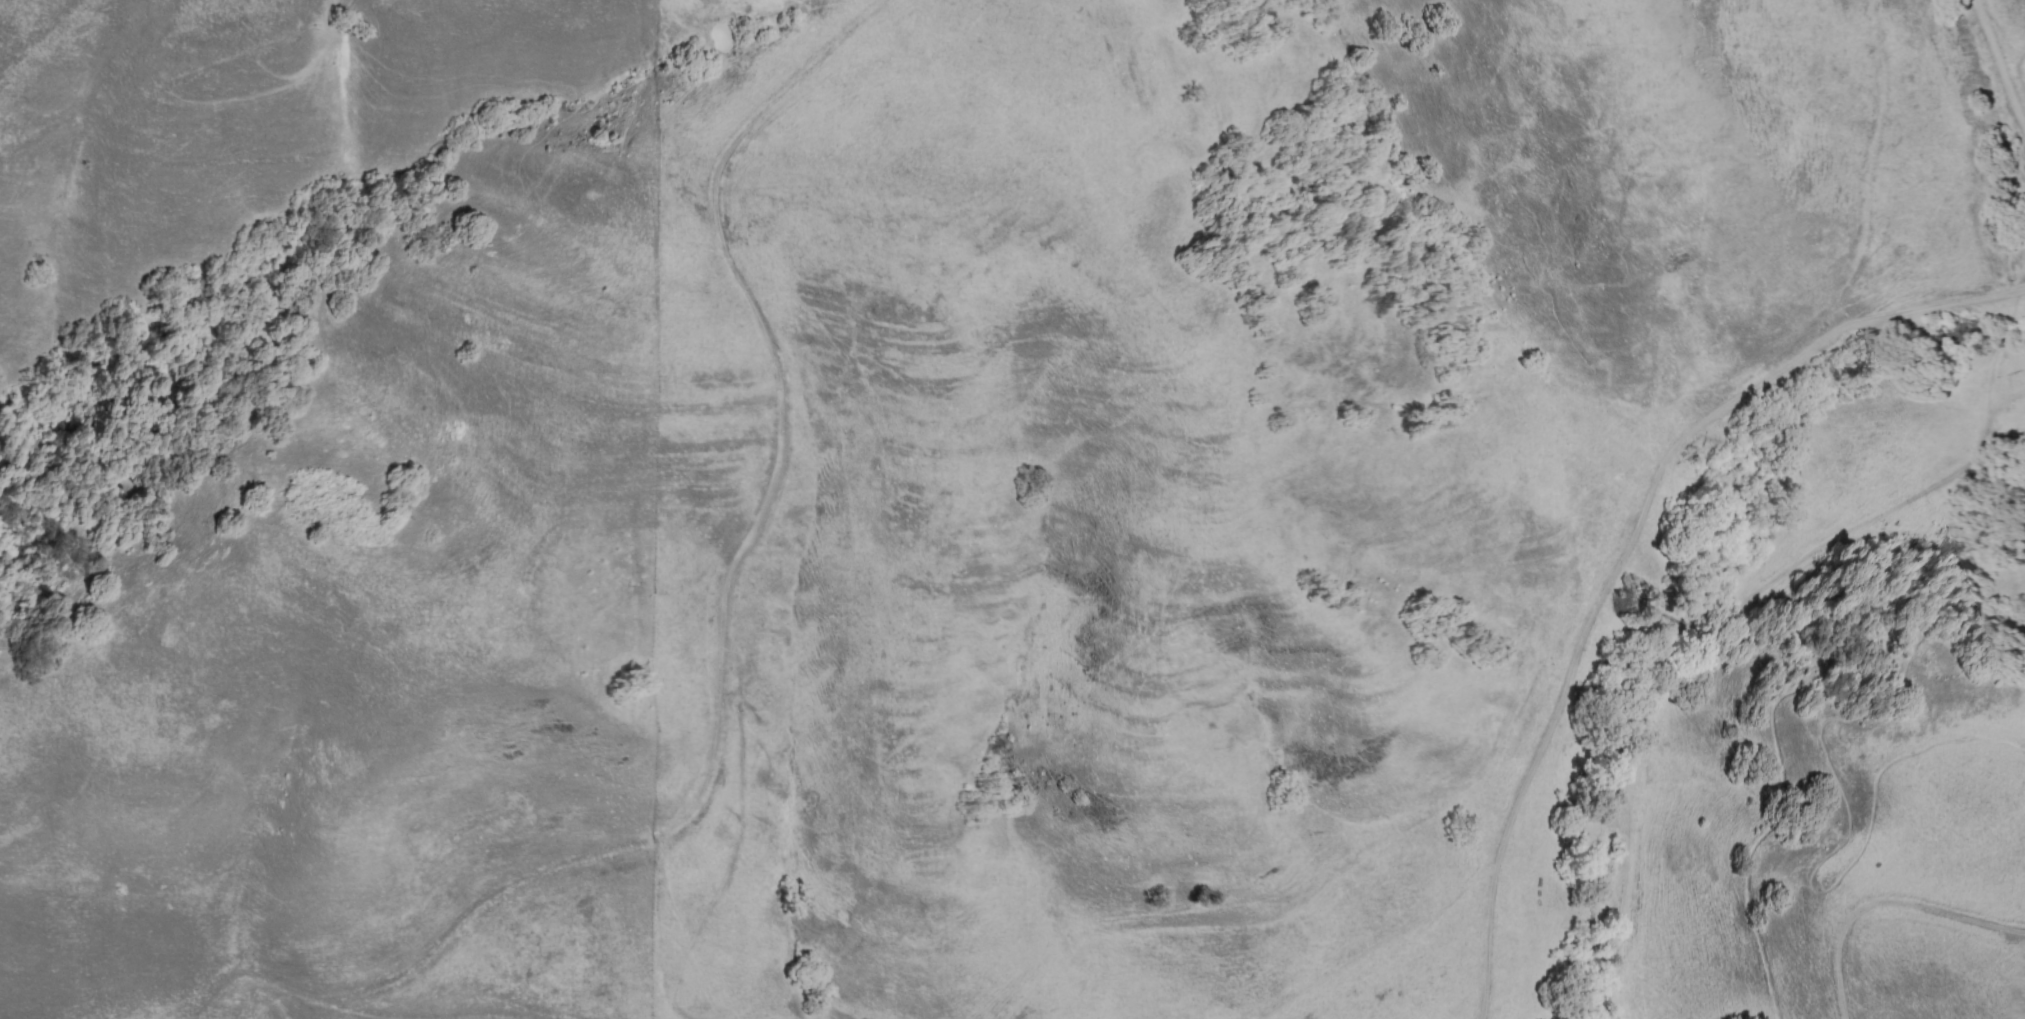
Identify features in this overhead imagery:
road: (2000, 65)
road: (2020, 72)
road: (1662, 463)
road: (770, 478)
road: (1710, 634)
road: (718, 742)
road: (1782, 776)
road: (1844, 840)
road: (1884, 904)
road: (1486, 932)
road: (1384, 940)
road: (426, 956)
road: (353, 1012)
road: (470, 1018)

